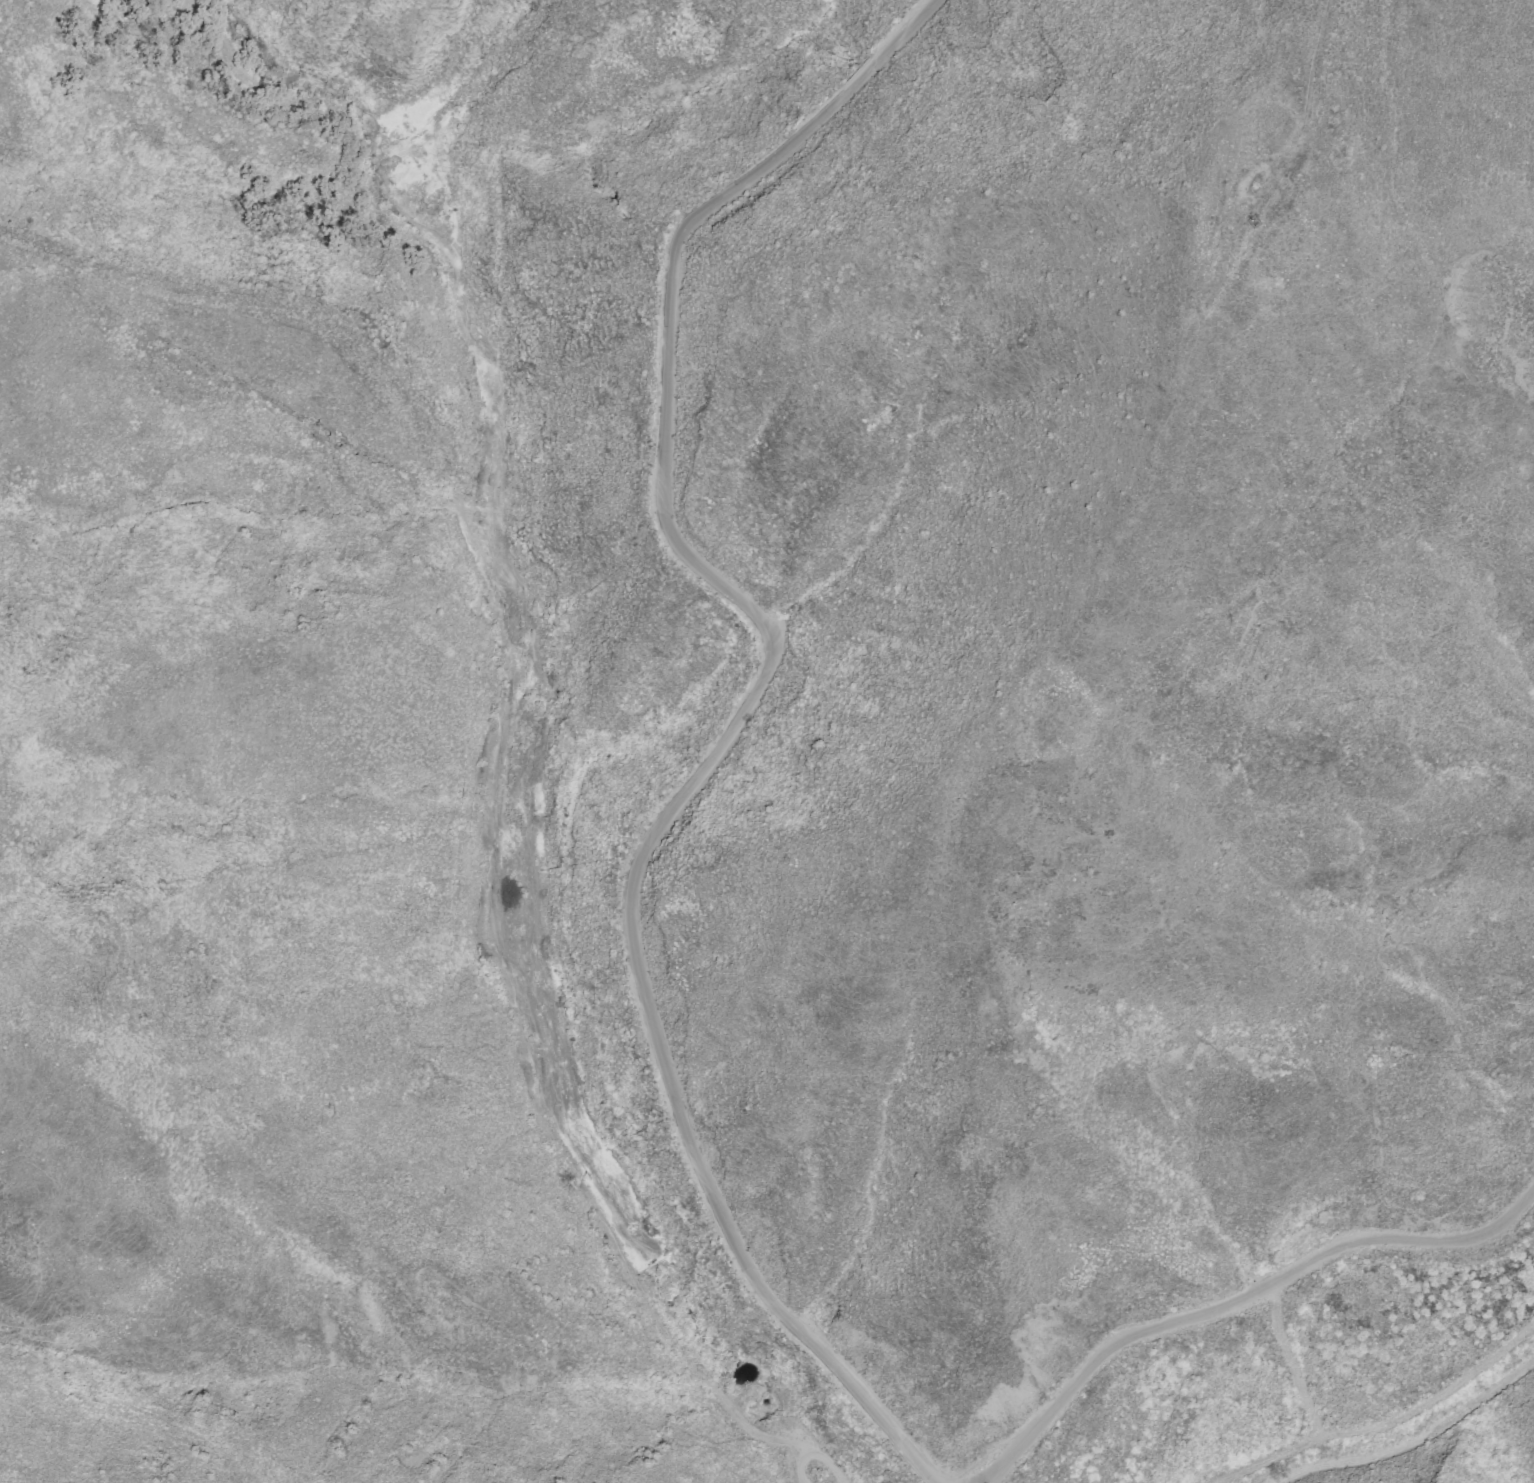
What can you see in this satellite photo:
road: (750, 720)
road: (1242, 1302)

